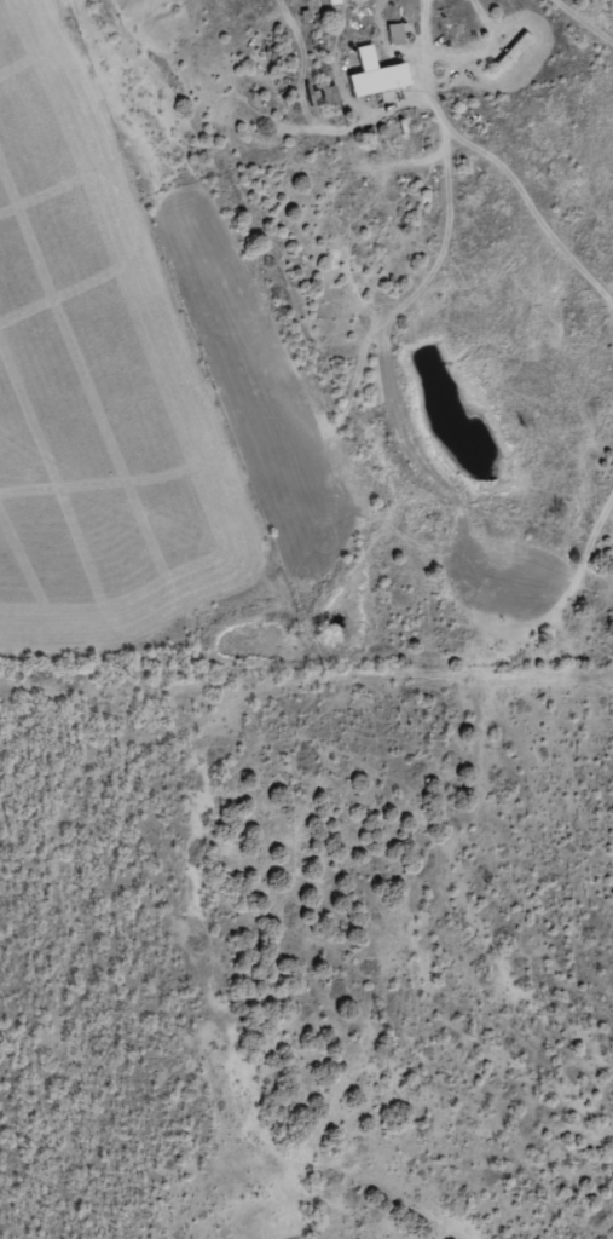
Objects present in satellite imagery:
building: (513, 56)
building: (377, 77)

